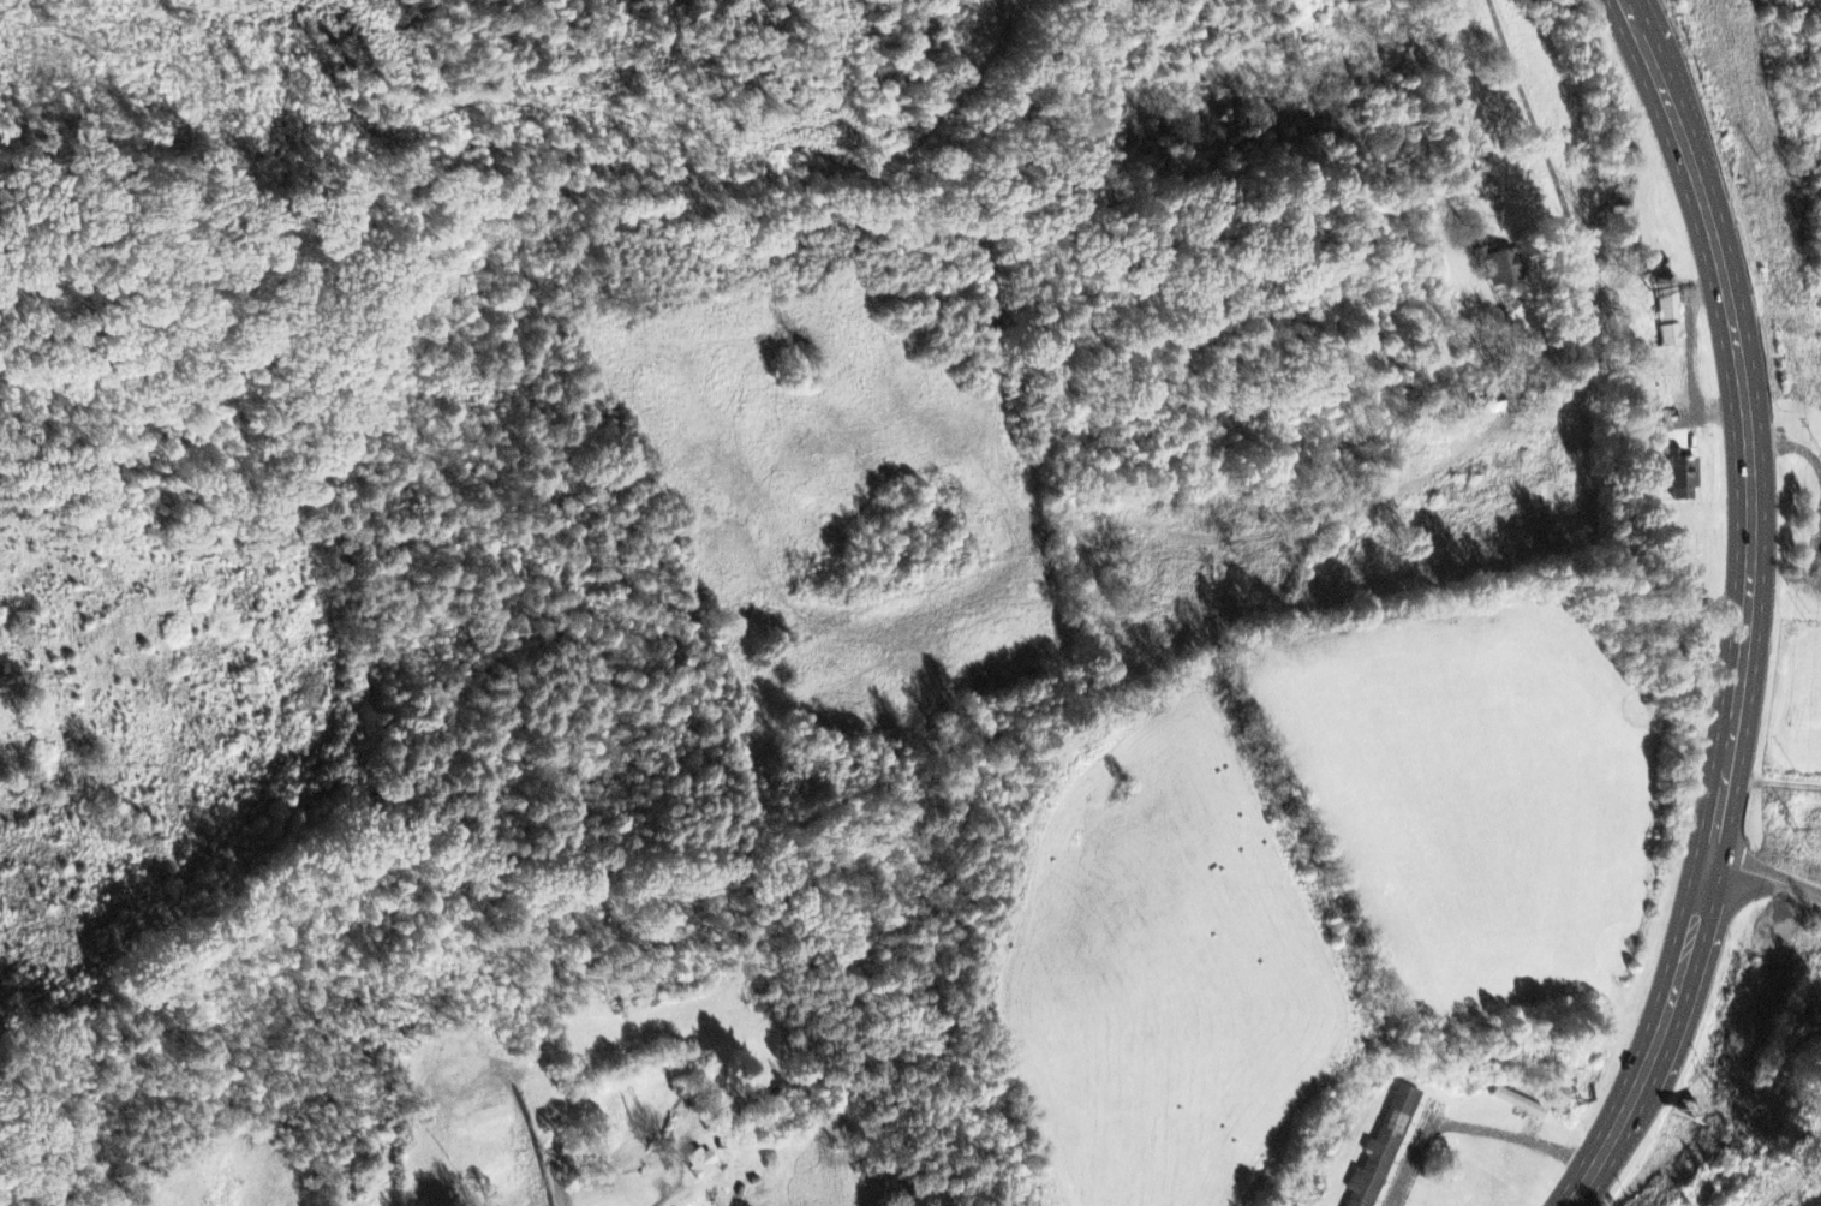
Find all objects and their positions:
building: (1506, 269)
building: (1670, 321)
building: (1674, 466)
road: (1745, 609)
road: (1766, 874)
building: (1520, 1105)
building: (1383, 1150)
building: (701, 1164)

